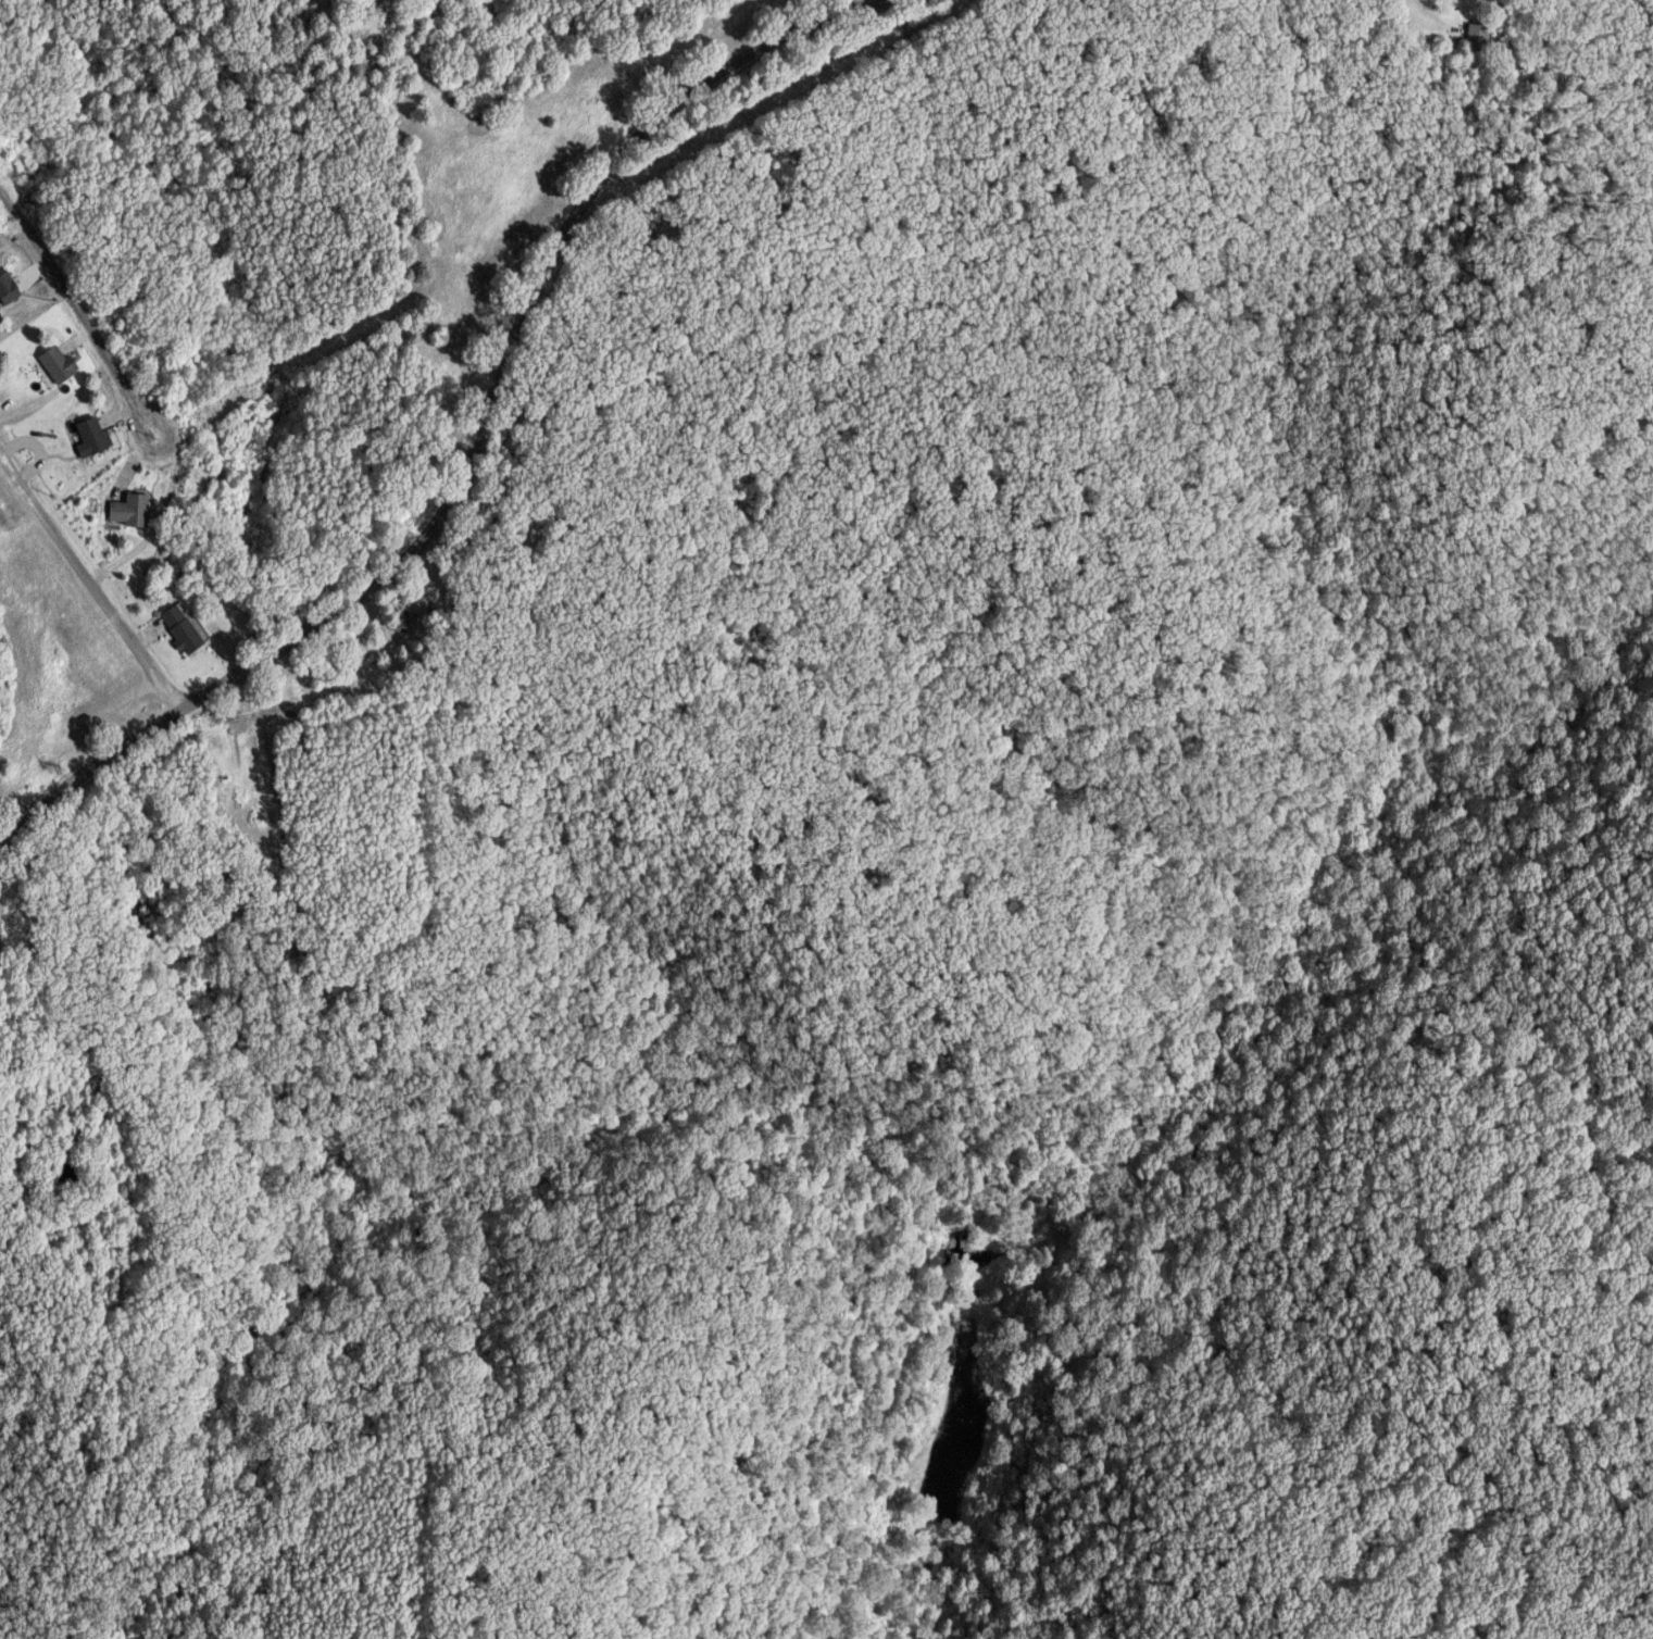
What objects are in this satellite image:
road: (1429, 15)
building: (10, 286)
road: (76, 310)
building: (62, 364)
building: (96, 437)
road: (480, 442)
building: (132, 509)
road: (87, 580)
building: (406, 625)
building: (185, 629)

